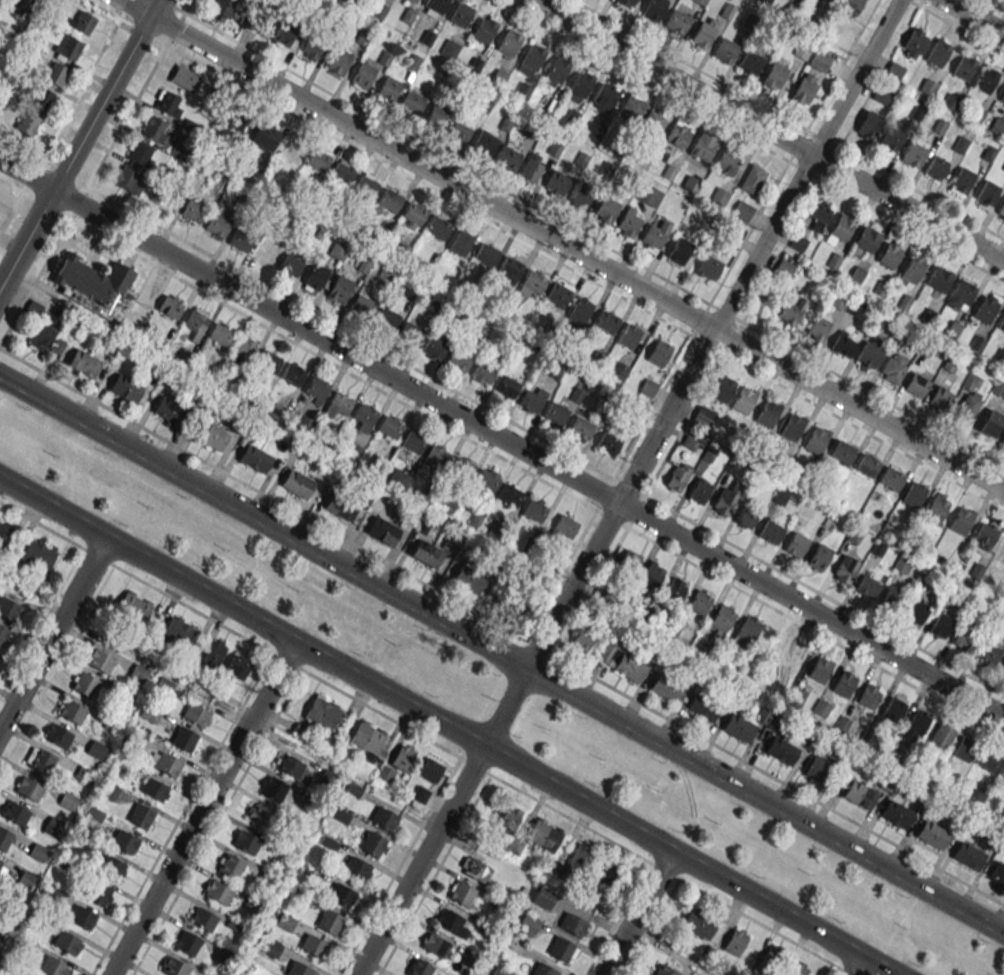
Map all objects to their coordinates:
building: (828, 0)
building: (411, 1)
building: (628, 2)
building: (700, 2)
building: (17, 5)
road: (993, 5)
building: (851, 6)
building: (434, 7)
building: (222, 8)
building: (654, 8)
road: (101, 9)
road: (124, 9)
building: (460, 14)
road: (974, 16)
building: (677, 22)
building: (82, 23)
road: (956, 26)
building: (484, 29)
building: (703, 33)
building: (917, 40)
building: (509, 42)
road: (105, 43)
building: (68, 47)
building: (313, 50)
building: (725, 51)
building: (802, 51)
building: (937, 54)
building: (530, 60)
building: (819, 60)
building: (338, 62)
building: (750, 62)
building: (964, 67)
building: (894, 70)
building: (53, 71)
building: (556, 71)
building: (774, 75)
building: (362, 76)
building: (184, 78)
building: (985, 80)
building: (581, 84)
building: (928, 87)
building: (804, 88)
building: (388, 89)
building: (882, 95)
building: (1001, 96)
building: (604, 97)
building: (42, 98)
building: (952, 101)
building: (412, 102)
building: (169, 104)
building: (631, 108)
building: (916, 114)
building: (436, 115)
building: (977, 116)
building: (233, 118)
building: (653, 122)
building: (27, 123)
building: (870, 123)
building: (940, 126)
building: (997, 127)
building: (154, 129)
road: (768, 131)
building: (458, 133)
building: (678, 135)
building: (265, 136)
building: (891, 139)
road: (79, 143)
building: (484, 143)
building: (960, 145)
building: (703, 146)
building: (290, 148)
road: (434, 151)
road: (793, 151)
building: (912, 153)
building: (988, 153)
building: (141, 154)
building: (508, 158)
building: (317, 159)
road: (830, 160)
building: (727, 161)
road: (36, 167)
building: (935, 167)
building: (532, 168)
building: (1003, 169)
building: (256, 171)
building: (343, 171)
building: (752, 179)
building: (962, 179)
building: (129, 180)
building: (556, 183)
building: (366, 186)
road: (429, 190)
road: (921, 192)
building: (987, 192)
building: (649, 195)
building: (719, 196)
building: (580, 197)
building: (387, 203)
building: (605, 209)
building: (1001, 210)
building: (193, 211)
building: (742, 211)
road: (11, 213)
building: (412, 215)
building: (818, 216)
building: (629, 223)
building: (217, 226)
building: (437, 227)
building: (839, 230)
building: (654, 237)
building: (242, 239)
building: (460, 242)
building: (865, 242)
road: (563, 243)
building: (266, 251)
building: (337, 251)
building: (679, 251)
building: (890, 253)
building: (486, 254)
building: (289, 265)
building: (708, 267)
building: (784, 268)
building: (510, 269)
building: (912, 270)
building: (314, 276)
building: (385, 277)
building: (938, 280)
building: (534, 282)
building: (96, 286)
building: (339, 289)
building: (961, 294)
building: (557, 296)
building: (838, 300)
building: (171, 306)
building: (362, 306)
building: (855, 308)
building: (580, 309)
building: (985, 309)
building: (790, 311)
building: (387, 317)
building: (606, 321)
building: (196, 323)
building: (1001, 323)
road: (696, 328)
building: (818, 329)
building: (43, 334)
building: (220, 334)
building: (410, 334)
building: (629, 335)
building: (843, 344)
building: (435, 347)
building: (242, 351)
building: (659, 353)
building: (870, 353)
road: (397, 358)
road: (324, 359)
building: (459, 360)
building: (268, 362)
building: (84, 364)
building: (893, 367)
building: (483, 372)
building: (293, 373)
building: (916, 385)
building: (507, 386)
building: (126, 387)
building: (722, 388)
building: (999, 389)
building: (315, 390)
building: (940, 397)
building: (532, 399)
building: (744, 400)
building: (968, 403)
building: (338, 404)
building: (278, 411)
building: (169, 412)
building: (555, 413)
building: (768, 414)
building: (363, 417)
building: (703, 417)
building: (991, 423)
building: (390, 427)
building: (792, 427)
building: (581, 428)
building: (211, 437)
road: (501, 440)
building: (816, 440)
building: (608, 443)
building: (1002, 443)
building: (410, 444)
building: (842, 452)
building: (436, 456)
building: (255, 459)
building: (867, 465)
building: (462, 469)
building: (678, 476)
building: (890, 478)
building: (397, 480)
building: (486, 480)
building: (298, 484)
road: (628, 487)
building: (699, 491)
building: (510, 495)
building: (914, 495)
building: (724, 501)
building: (340, 507)
building: (936, 509)
building: (534, 510)
building: (806, 510)
building: (745, 518)
building: (961, 521)
building: (565, 527)
building: (383, 531)
building: (4, 532)
building: (770, 532)
building: (985, 535)
building: (797, 544)
building: (435, 550)
building: (1001, 552)
building: (38, 554)
building: (819, 557)
building: (628, 563)
building: (846, 569)
building: (651, 575)
building: (468, 579)
road: (808, 586)
building: (867, 586)
building: (674, 591)
building: (892, 599)
building: (700, 601)
building: (515, 603)
building: (135, 606)
building: (9, 610)
building: (916, 613)
road: (40, 620)
building: (721, 622)
road: (800, 623)
building: (941, 625)
road: (501, 627)
road: (230, 629)
building: (179, 632)
building: (746, 632)
building: (3, 634)
road: (53, 634)
building: (963, 638)
building: (582, 639)
building: (214, 652)
building: (608, 653)
building: (988, 653)
road: (502, 655)
building: (789, 657)
building: (99, 660)
road: (55, 664)
building: (237, 667)
building: (629, 668)
building: (820, 669)
building: (1002, 670)
building: (85, 683)
building: (843, 684)
building: (666, 687)
building: (868, 697)
building: (703, 707)
building: (893, 710)
building: (72, 712)
building: (322, 712)
building: (196, 714)
building: (917, 723)
road: (446, 726)
building: (739, 727)
building: (941, 736)
building: (58, 737)
building: (184, 739)
building: (368, 740)
building: (963, 749)
building: (96, 750)
building: (781, 750)
building: (403, 757)
building: (987, 759)
building: (40, 760)
building: (121, 764)
building: (168, 764)
building: (292, 768)
building: (816, 768)
building: (430, 769)
building: (1002, 774)
building: (272, 788)
building: (29, 789)
building: (109, 790)
building: (153, 790)
building: (859, 794)
building: (974, 796)
road: (203, 809)
building: (16, 813)
road: (180, 813)
building: (258, 813)
building: (895, 814)
building: (141, 815)
building: (384, 818)
road: (570, 818)
building: (508, 819)
road: (214, 822)
building: (52, 827)
building: (544, 835)
building: (932, 835)
building: (4, 839)
building: (125, 842)
building: (246, 842)
building: (372, 844)
building: (38, 852)
building: (968, 855)
building: (581, 856)
building: (0, 864)
building: (230, 866)
road: (399, 866)
building: (111, 867)
building: (357, 868)
building: (475, 869)
building: (607, 870)
building: (997, 873)
road: (434, 874)
building: (26, 880)
building: (50, 892)
building: (97, 892)
building: (217, 892)
building: (461, 893)
building: (342, 895)
building: (543, 897)
road: (718, 902)
road: (639, 914)
building: (82, 917)
road: (617, 918)
building: (204, 919)
building: (329, 921)
building: (286, 922)
building: (450, 922)
building: (529, 923)
building: (699, 923)
building: (572, 925)
building: (736, 939)
building: (66, 943)
building: (187, 943)
building: (314, 946)
building: (436, 946)
building: (272, 948)
building: (562, 950)
building: (772, 958)
road: (857, 966)
building: (53, 967)
building: (175, 967)
building: (418, 967)
building: (298, 969)
building: (798, 969)
building: (543, 970)
building: (664, 970)
building: (500, 971)
road: (834, 971)

